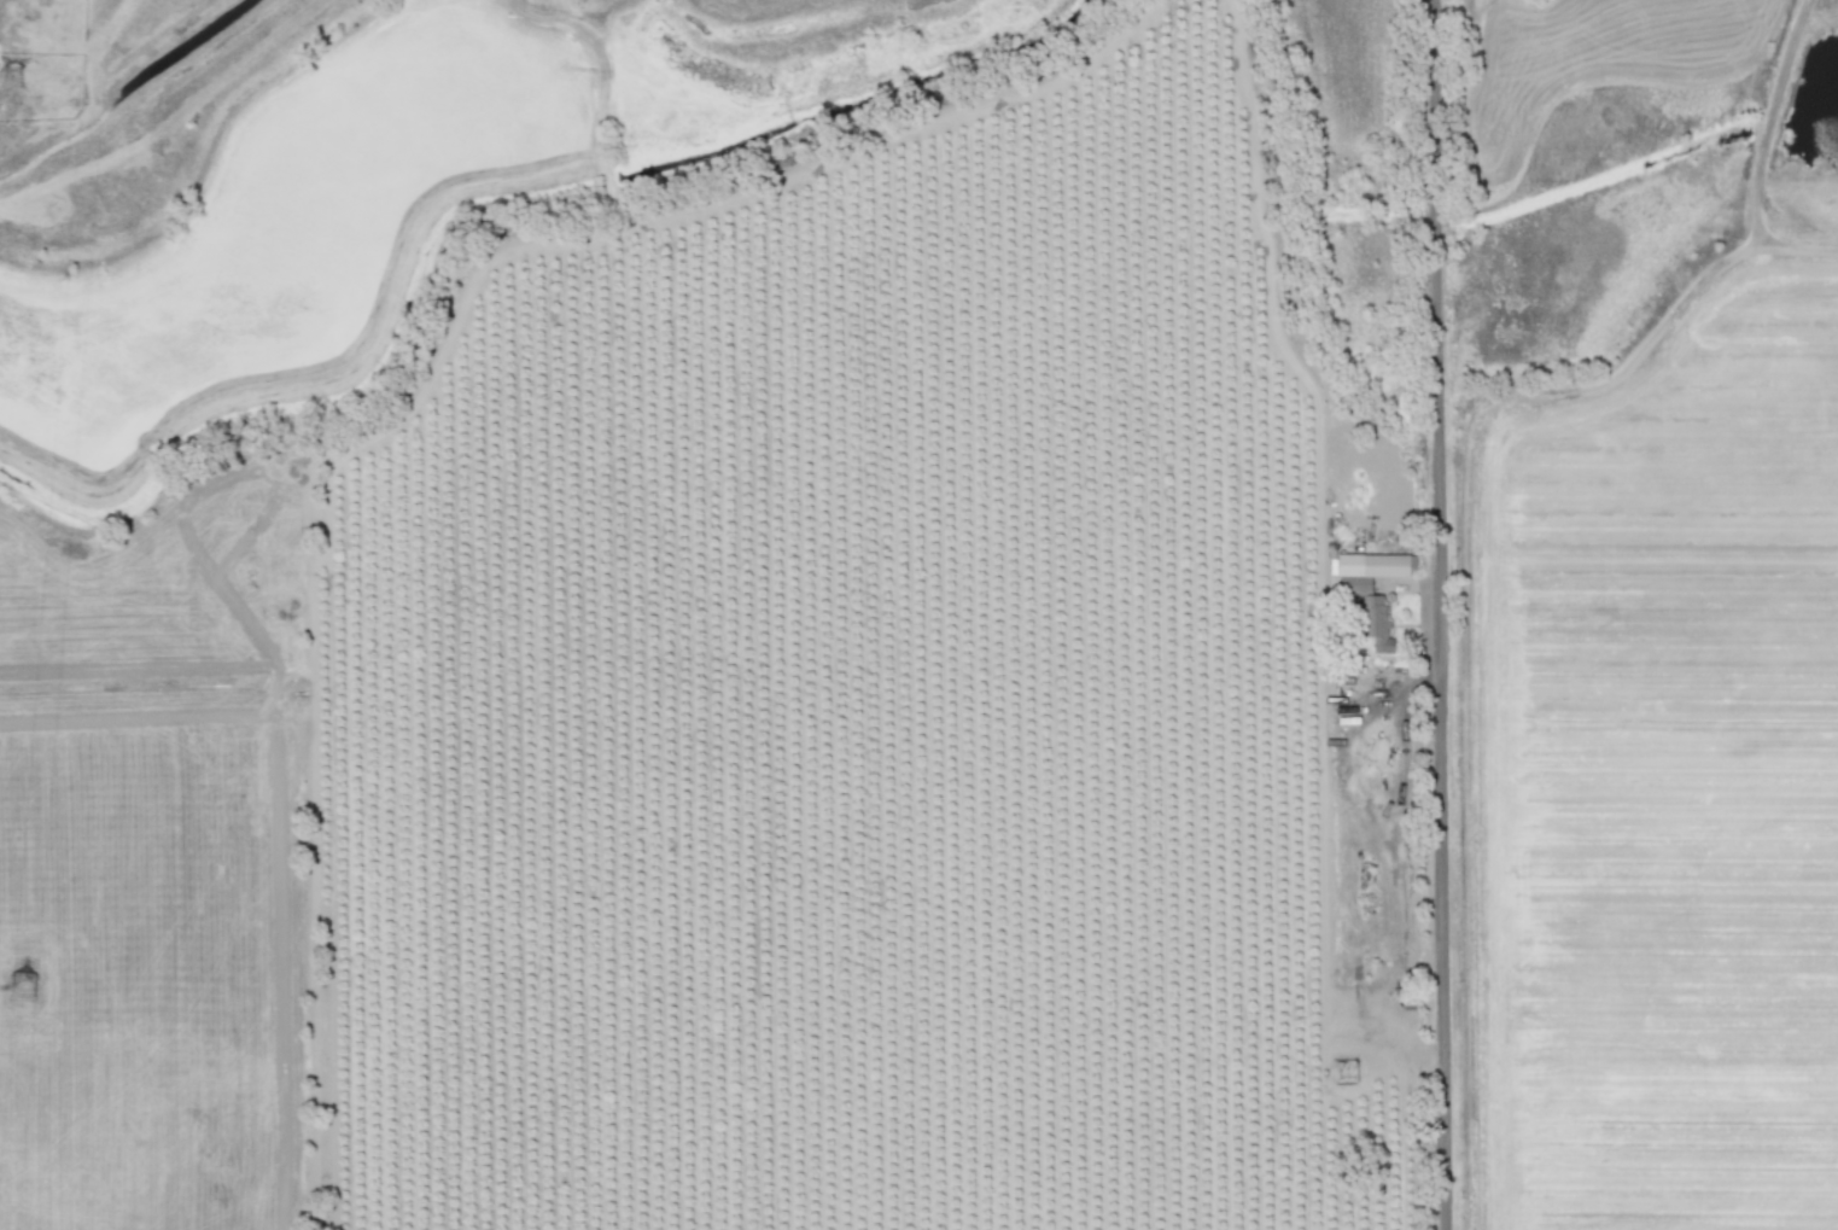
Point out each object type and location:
power tower: (4, 75)
building: (1373, 614)
road: (1440, 614)
crop: (951, 735)
power tower: (28, 995)

